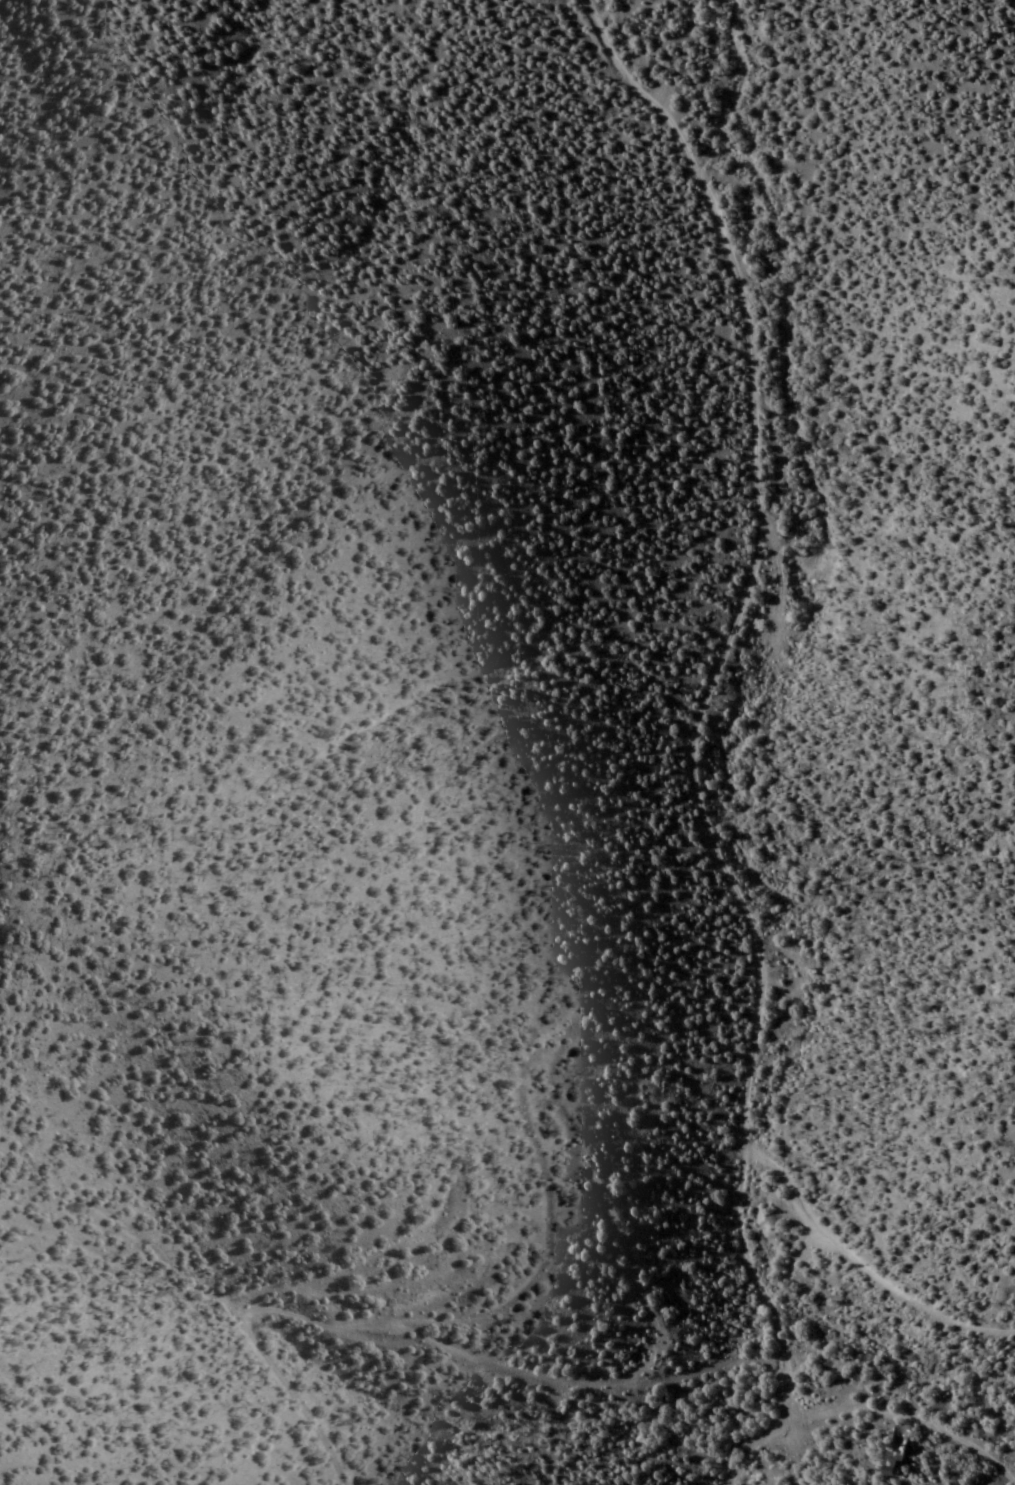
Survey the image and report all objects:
building: (902, 1449)

